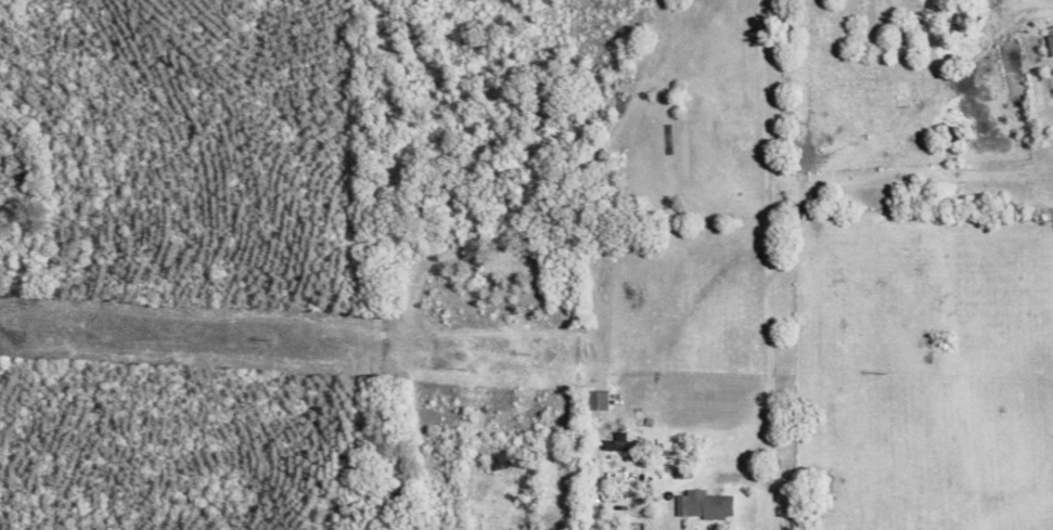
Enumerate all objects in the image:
building: (1050, 44)
road: (910, 178)
road: (760, 266)
building: (595, 399)
building: (626, 444)
building: (703, 504)
road: (642, 514)

